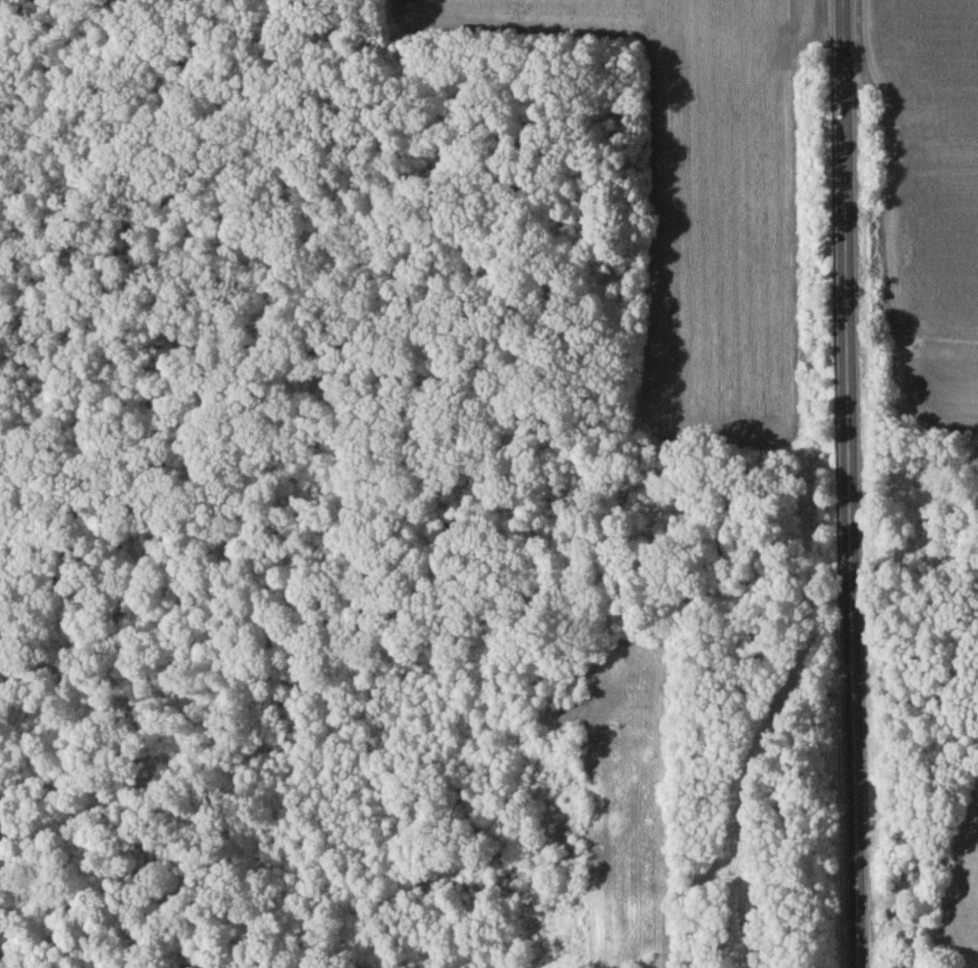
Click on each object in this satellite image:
road: (849, 484)

